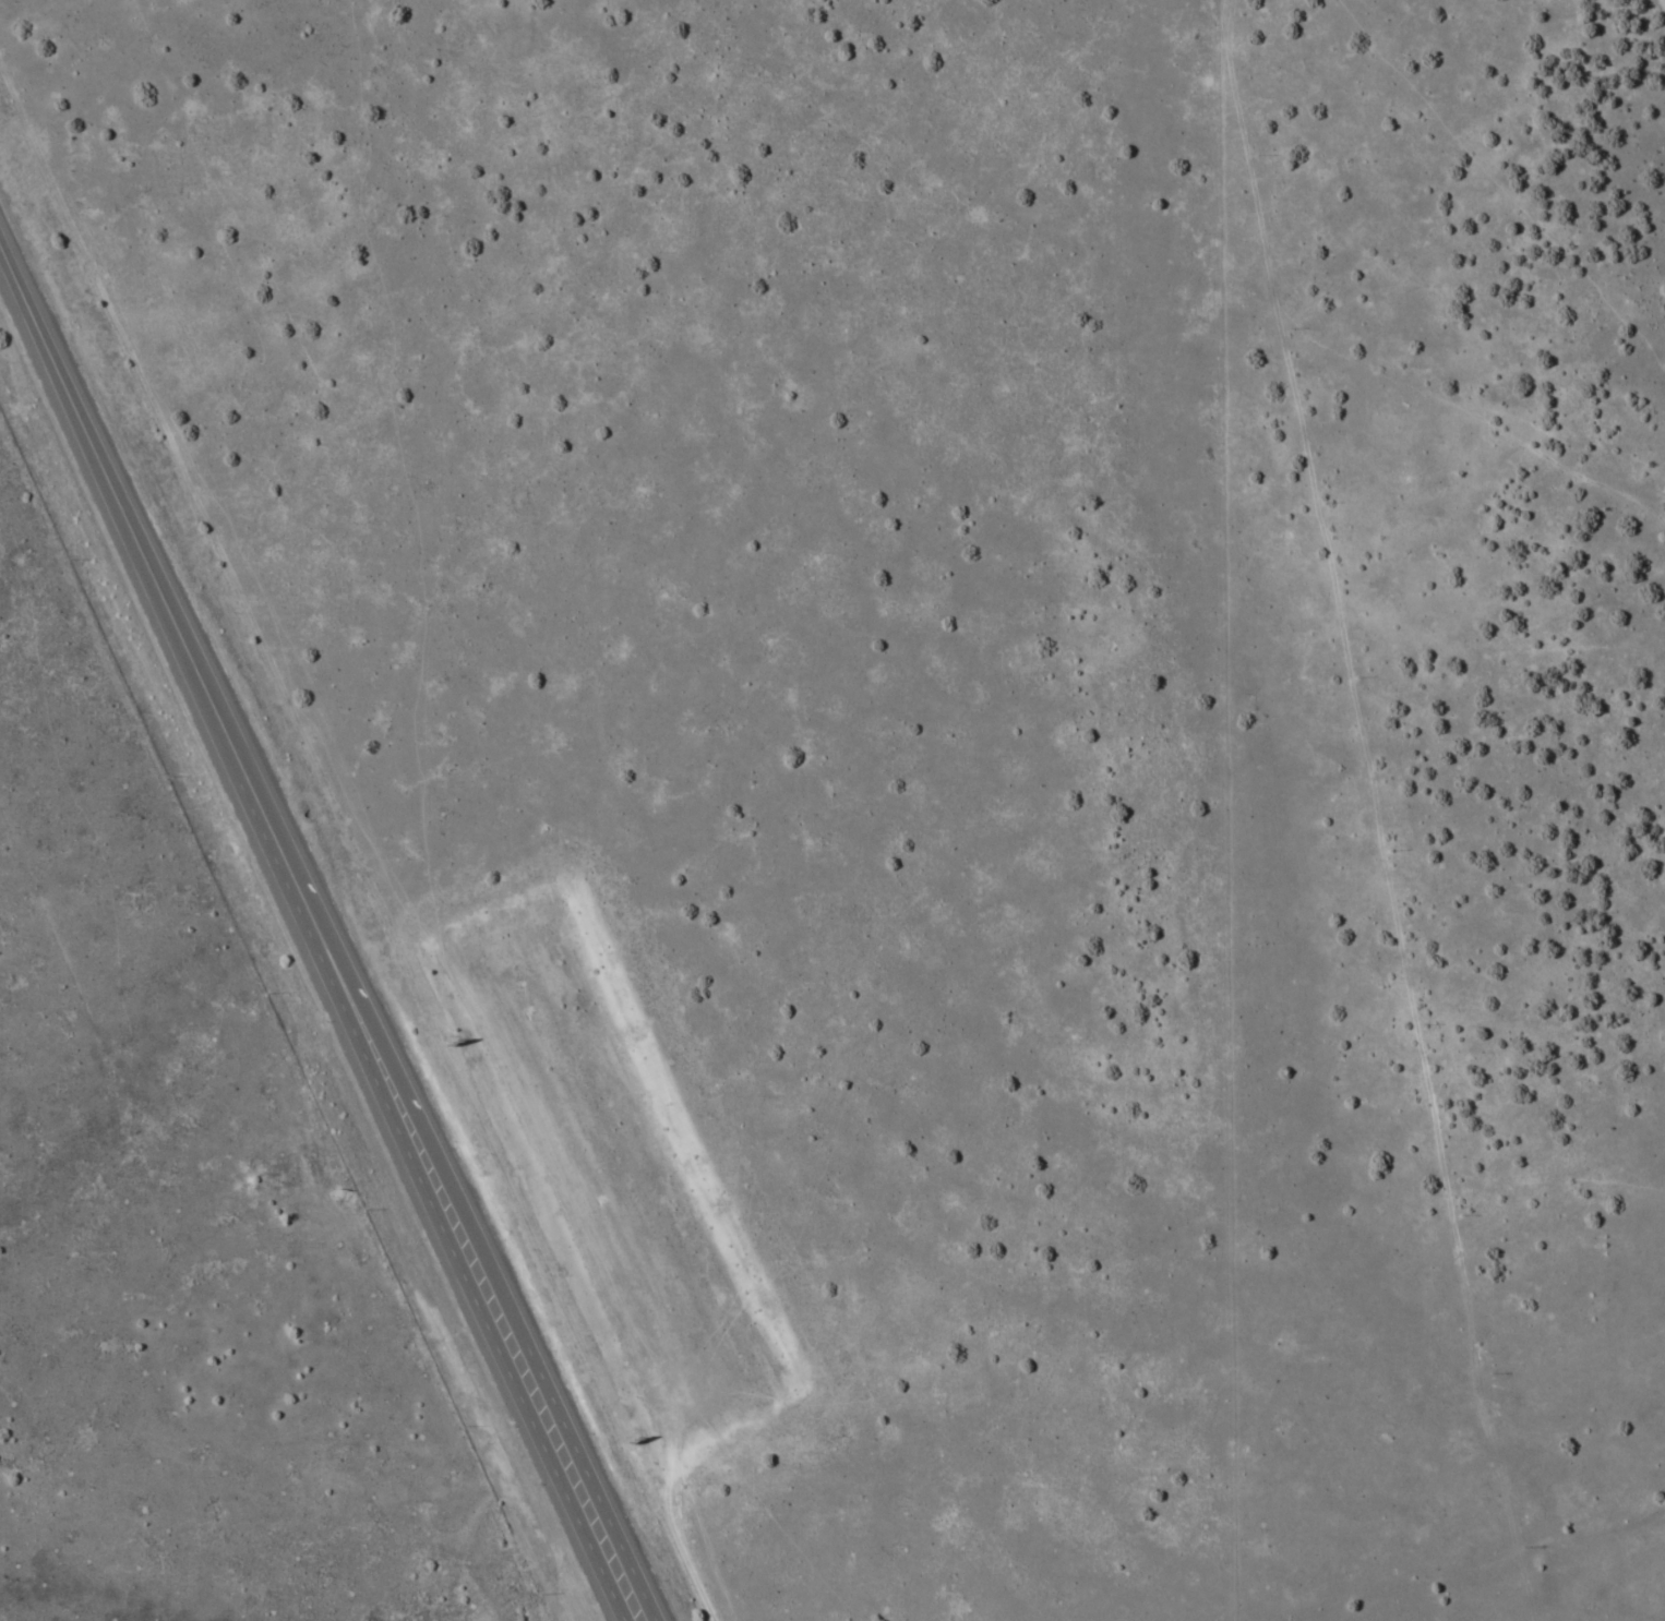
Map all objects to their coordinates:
road: (113, 514)
road: (369, 1061)
road: (567, 1488)

